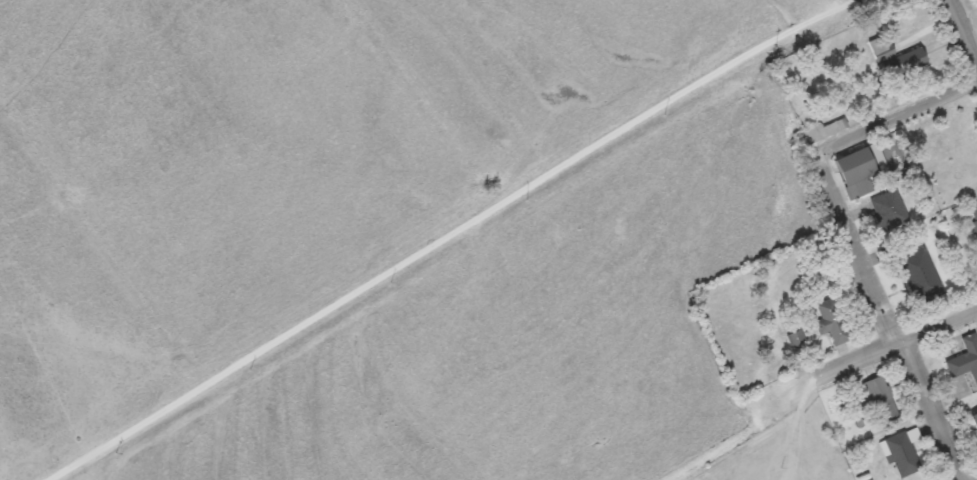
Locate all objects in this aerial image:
road: (961, 34)
building: (877, 45)
road: (975, 59)
building: (909, 61)
road: (936, 107)
road: (856, 143)
building: (941, 144)
building: (856, 171)
building: (888, 210)
building: (973, 216)
road: (447, 236)
building: (920, 276)
road: (885, 319)
building: (831, 322)
road: (937, 329)
building: (796, 340)
building: (965, 359)
road: (863, 361)
building: (880, 400)
building: (975, 419)
building: (901, 454)

